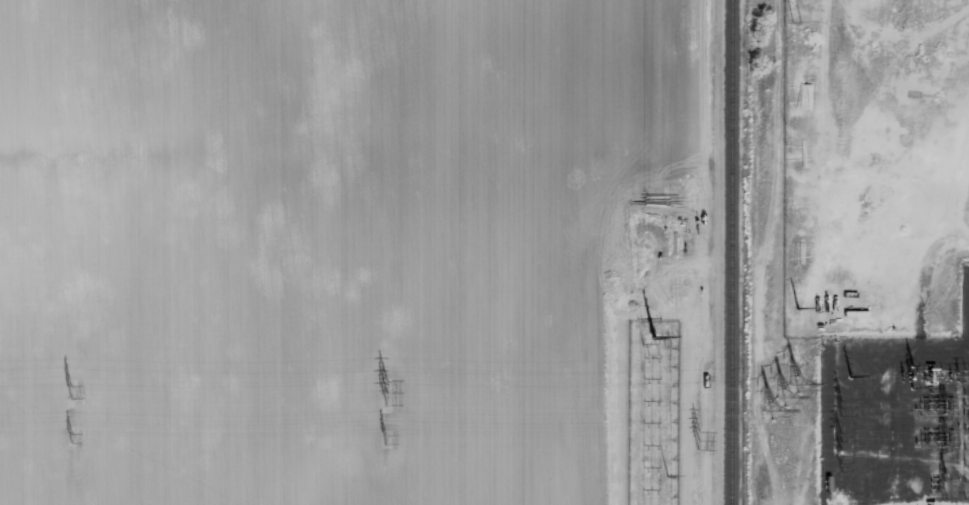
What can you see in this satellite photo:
power tower: (798, 23)
road: (891, 231)
railway: (731, 252)
power tower: (798, 309)
power tower: (851, 378)
power tower: (387, 389)
power tower: (72, 390)
power tower: (785, 402)
power substation: (896, 420)
power tower: (387, 434)
power tower: (71, 437)
power tower: (700, 442)

